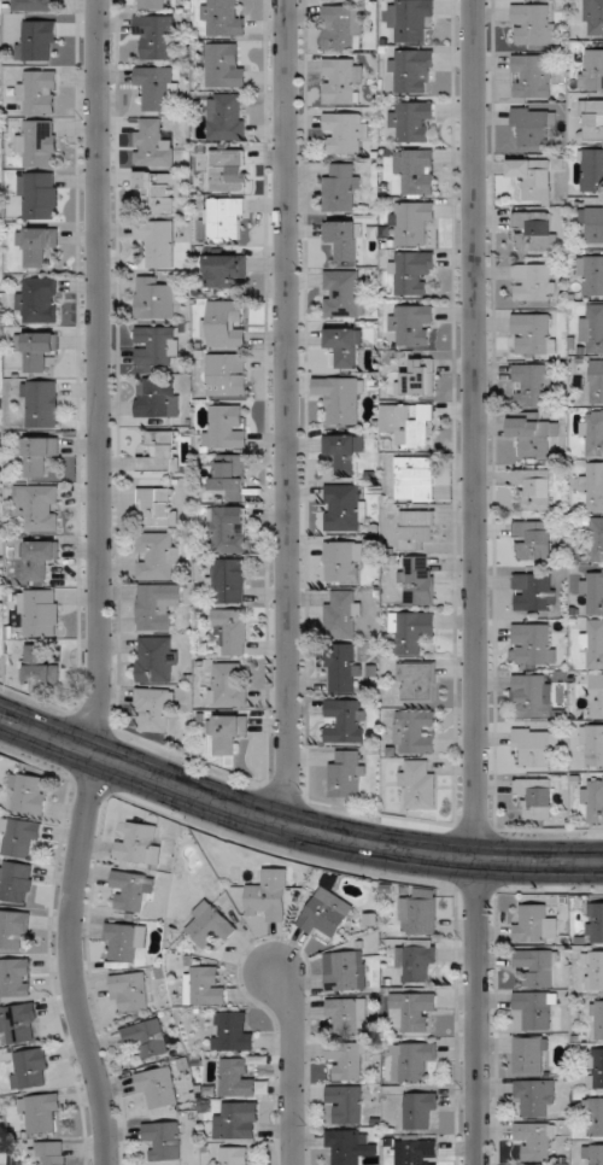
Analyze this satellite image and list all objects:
building: (148, 4)
building: (35, 5)
building: (223, 17)
building: (593, 17)
building: (409, 19)
building: (533, 24)
building: (343, 27)
building: (157, 35)
building: (37, 40)
building: (226, 64)
building: (591, 69)
building: (411, 70)
building: (531, 76)
building: (343, 81)
building: (159, 87)
building: (39, 92)
building: (227, 116)
building: (412, 119)
building: (592, 119)
building: (534, 127)
building: (345, 131)
building: (39, 141)
building: (152, 144)
building: (228, 170)
building: (416, 170)
building: (592, 170)
building: (532, 178)
building: (341, 188)
building: (159, 191)
building: (39, 195)
building: (227, 218)
building: (411, 222)
building: (591, 223)
building: (534, 230)
building: (344, 239)
building: (158, 241)
building: (36, 246)
building: (224, 269)
building: (411, 271)
building: (590, 275)
building: (534, 282)
building: (344, 293)
building: (156, 298)
building: (39, 299)
building: (224, 324)
building: (412, 324)
building: (592, 329)
building: (533, 333)
building: (157, 345)
building: (345, 345)
building: (39, 349)
building: (227, 374)
building: (417, 377)
building: (596, 381)
building: (532, 385)
building: (157, 397)
building: (341, 398)
building: (40, 404)
road: (288, 411)
building: (412, 423)
building: (226, 426)
road: (476, 429)
building: (593, 433)
building: (533, 435)
building: (162, 451)
building: (345, 451)
building: (40, 453)
building: (228, 478)
building: (415, 479)
building: (593, 486)
building: (534, 487)
building: (158, 505)
building: (39, 507)
building: (344, 507)
building: (416, 528)
building: (228, 529)
building: (597, 538)
building: (533, 539)
building: (157, 555)
building: (36, 558)
building: (344, 561)
building: (228, 580)
building: (417, 580)
road: (99, 585)
building: (533, 592)
building: (593, 592)
building: (157, 605)
building: (40, 613)
building: (341, 614)
building: (233, 630)
building: (412, 631)
building: (593, 643)
building: (532, 644)
building: (154, 658)
building: (41, 666)
building: (343, 667)
building: (417, 680)
building: (227, 685)
building: (597, 695)
building: (532, 696)
building: (154, 709)
building: (346, 720)
building: (228, 732)
building: (415, 732)
building: (535, 745)
building: (592, 745)
building: (347, 773)
building: (418, 784)
building: (29, 792)
building: (535, 797)
building: (593, 798)
road: (293, 826)
building: (21, 837)
building: (141, 842)
building: (16, 880)
building: (130, 890)
building: (268, 895)
building: (420, 912)
building: (326, 914)
building: (595, 923)
building: (211, 924)
building: (534, 924)
building: (13, 929)
building: (125, 941)
building: (416, 960)
building: (538, 966)
building: (345, 970)
building: (593, 970)
building: (16, 979)
building: (205, 985)
building: (131, 990)
building: (538, 1008)
building: (411, 1011)
road: (476, 1011)
building: (347, 1014)
building: (598, 1019)
building: (19, 1023)
building: (234, 1031)
building: (147, 1038)
building: (531, 1054)
building: (347, 1059)
building: (415, 1059)
road: (293, 1065)
building: (30, 1067)
building: (596, 1067)
building: (238, 1078)
building: (158, 1087)
building: (535, 1097)
building: (346, 1102)
building: (420, 1110)
building: (41, 1113)
building: (595, 1116)
building: (240, 1119)
building: (164, 1140)
building: (535, 1140)
building: (345, 1147)
building: (417, 1152)
building: (47, 1153)
building: (593, 1154)
building: (235, 1155)

